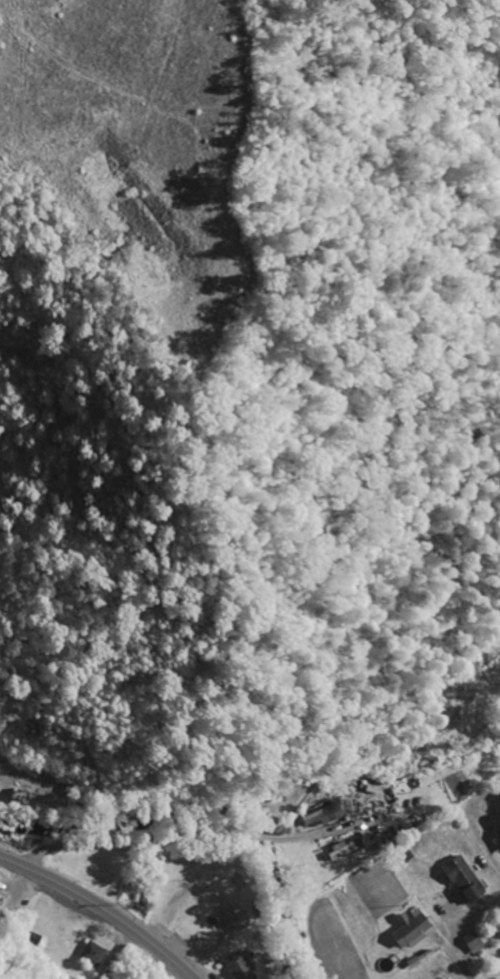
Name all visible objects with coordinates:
building: (496, 834)
road: (220, 836)
building: (348, 851)
building: (462, 880)
building: (0, 909)
road: (102, 909)
building: (239, 920)
road: (268, 927)
building: (408, 930)
building: (473, 947)
building: (94, 956)
building: (242, 967)

